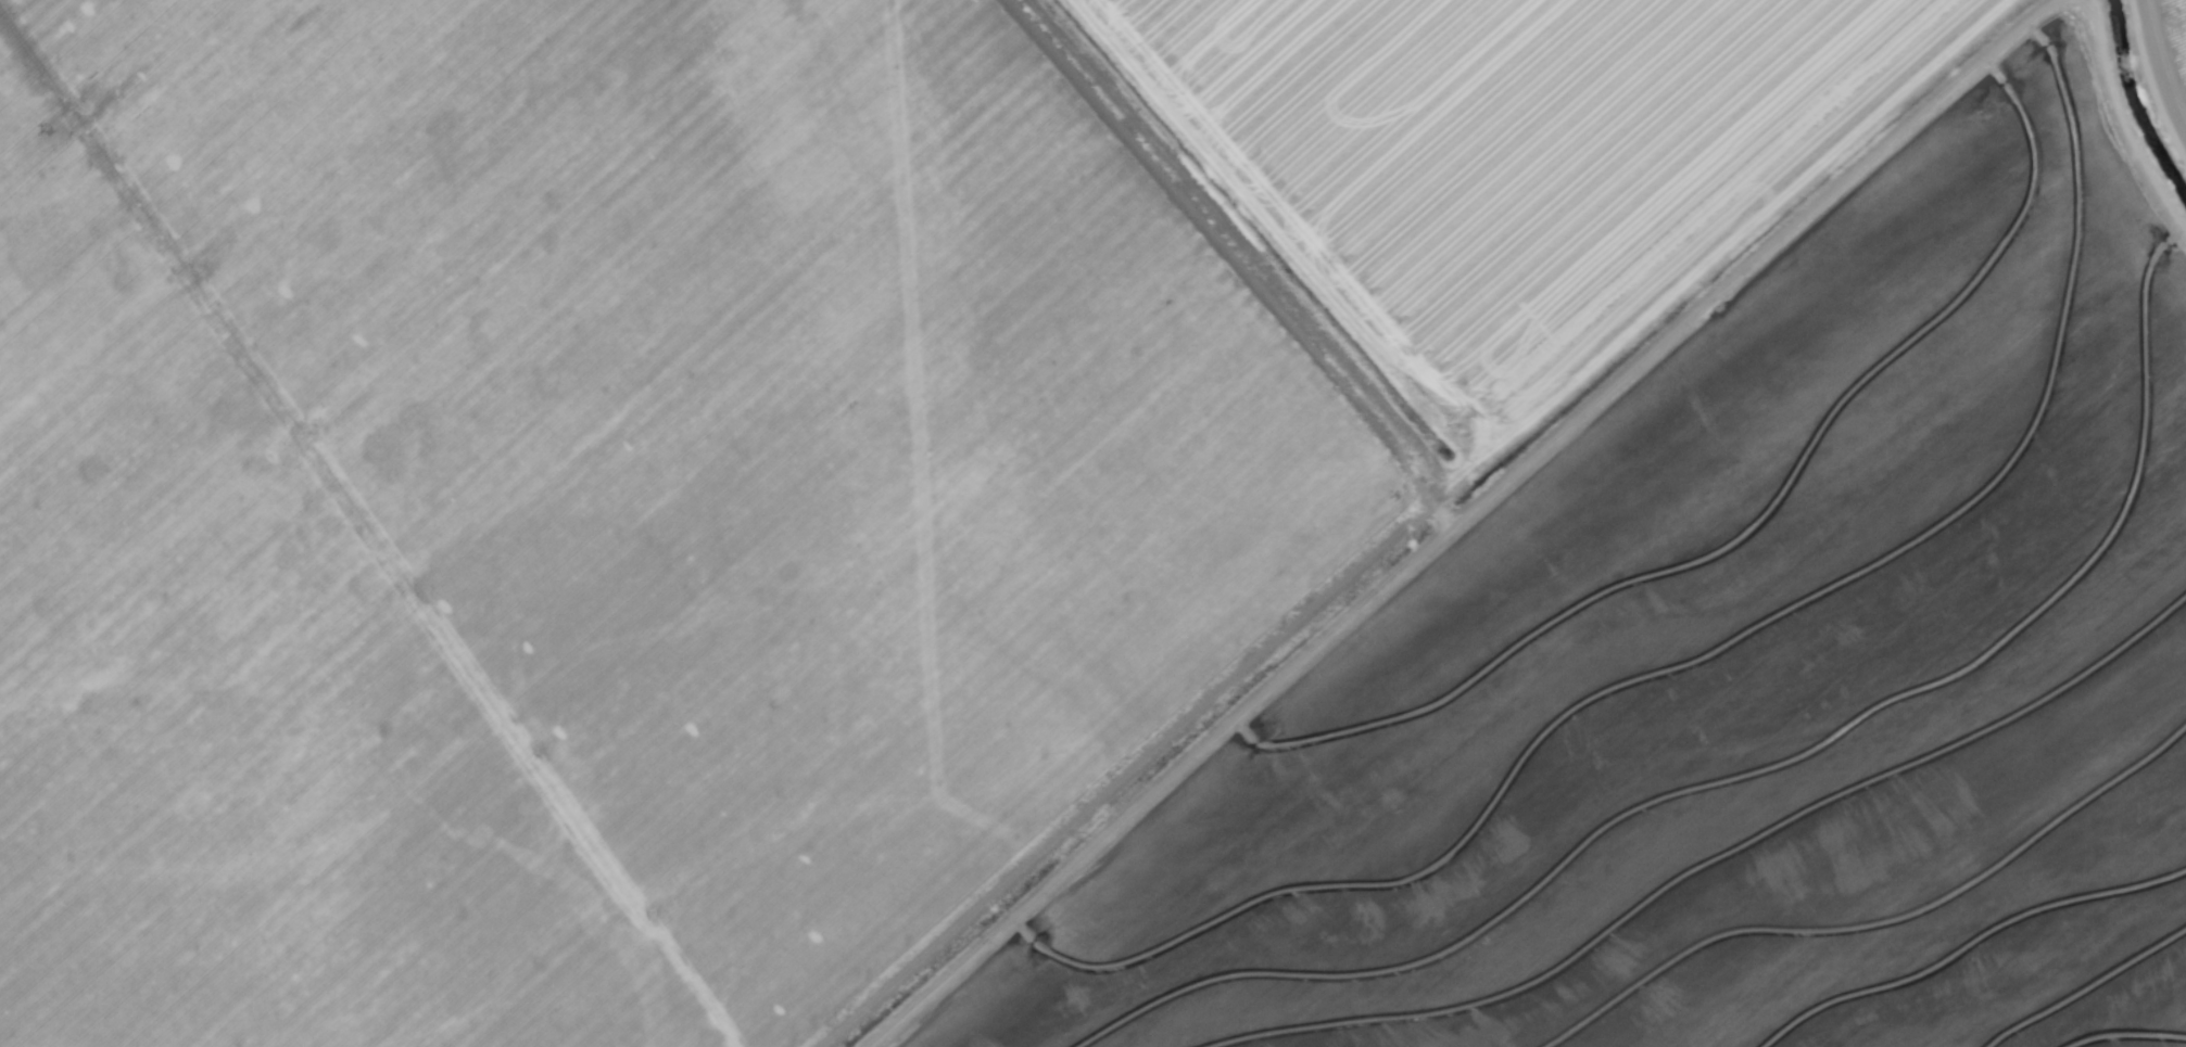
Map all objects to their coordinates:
crop: (1092, 523)

